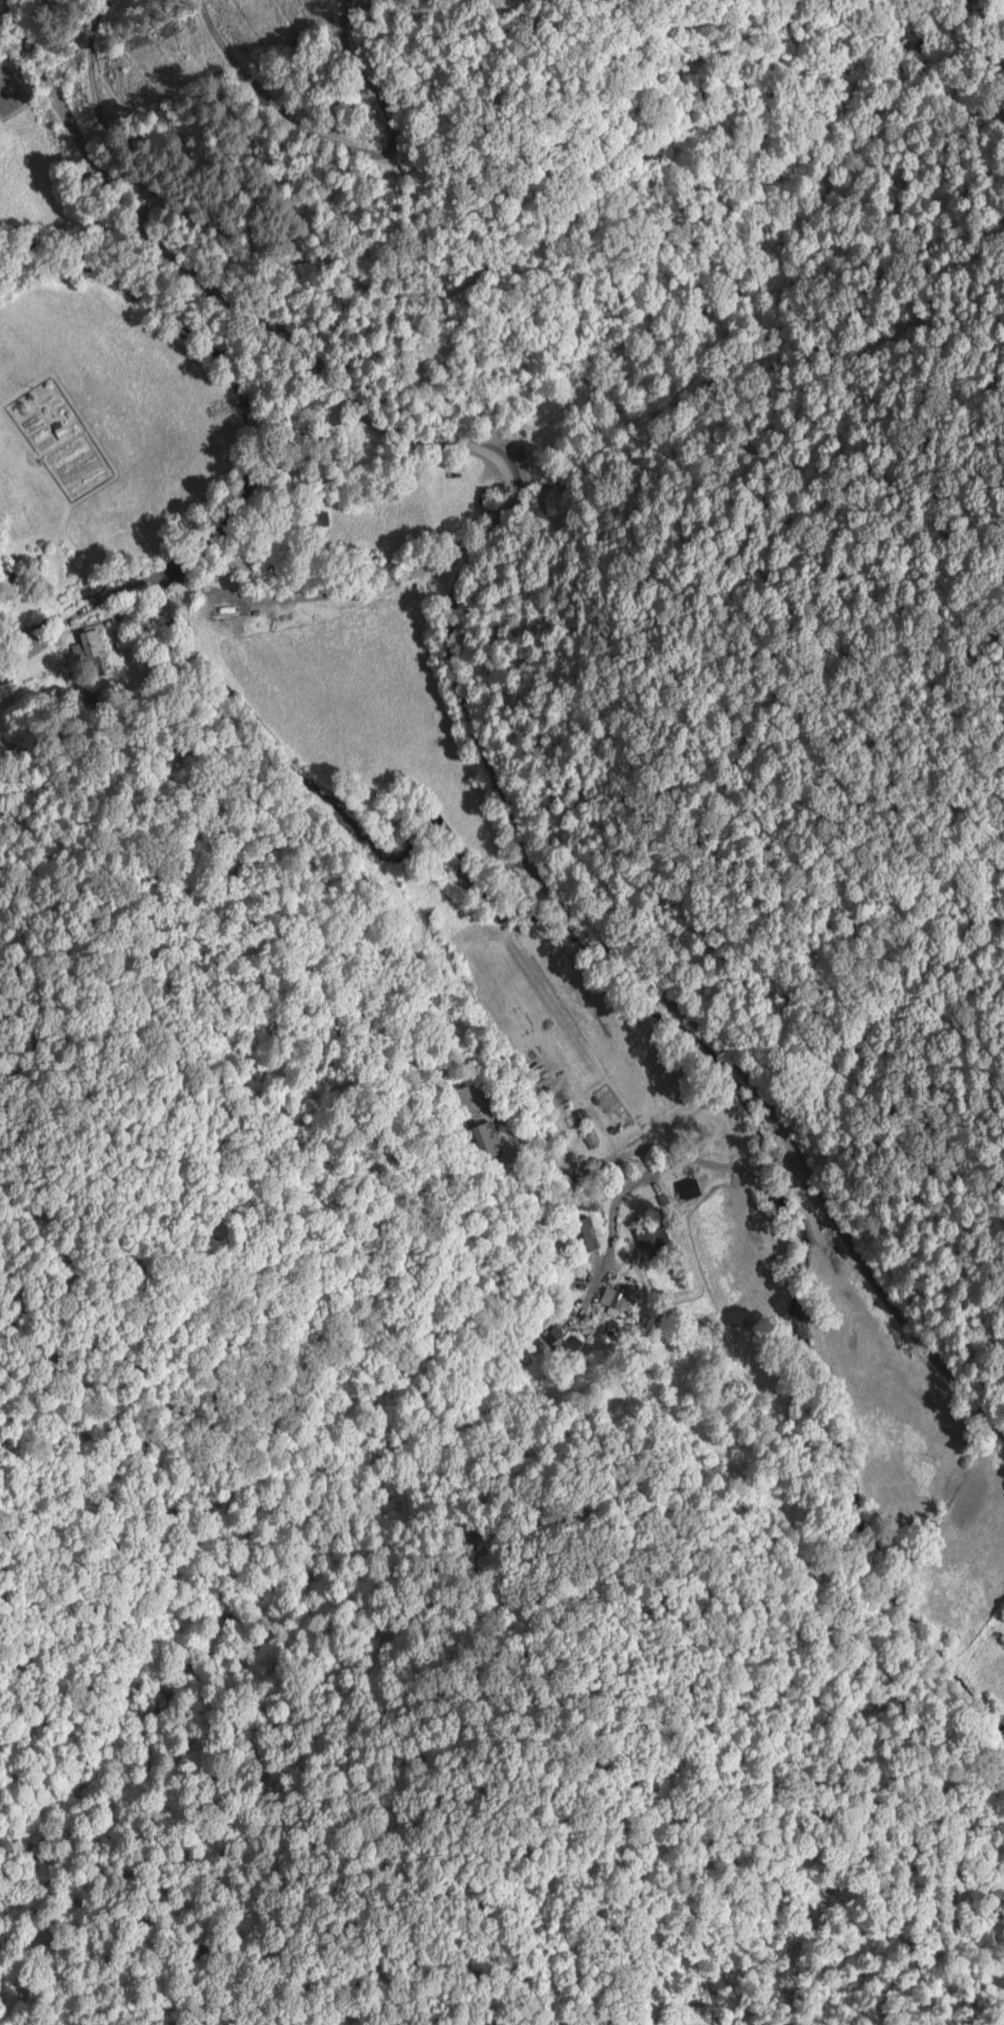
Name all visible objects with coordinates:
road: (345, 591)
road: (461, 674)
building: (7, 688)
road: (642, 1177)
building: (589, 1235)
building: (659, 1236)
building: (622, 1298)
building: (553, 1343)

